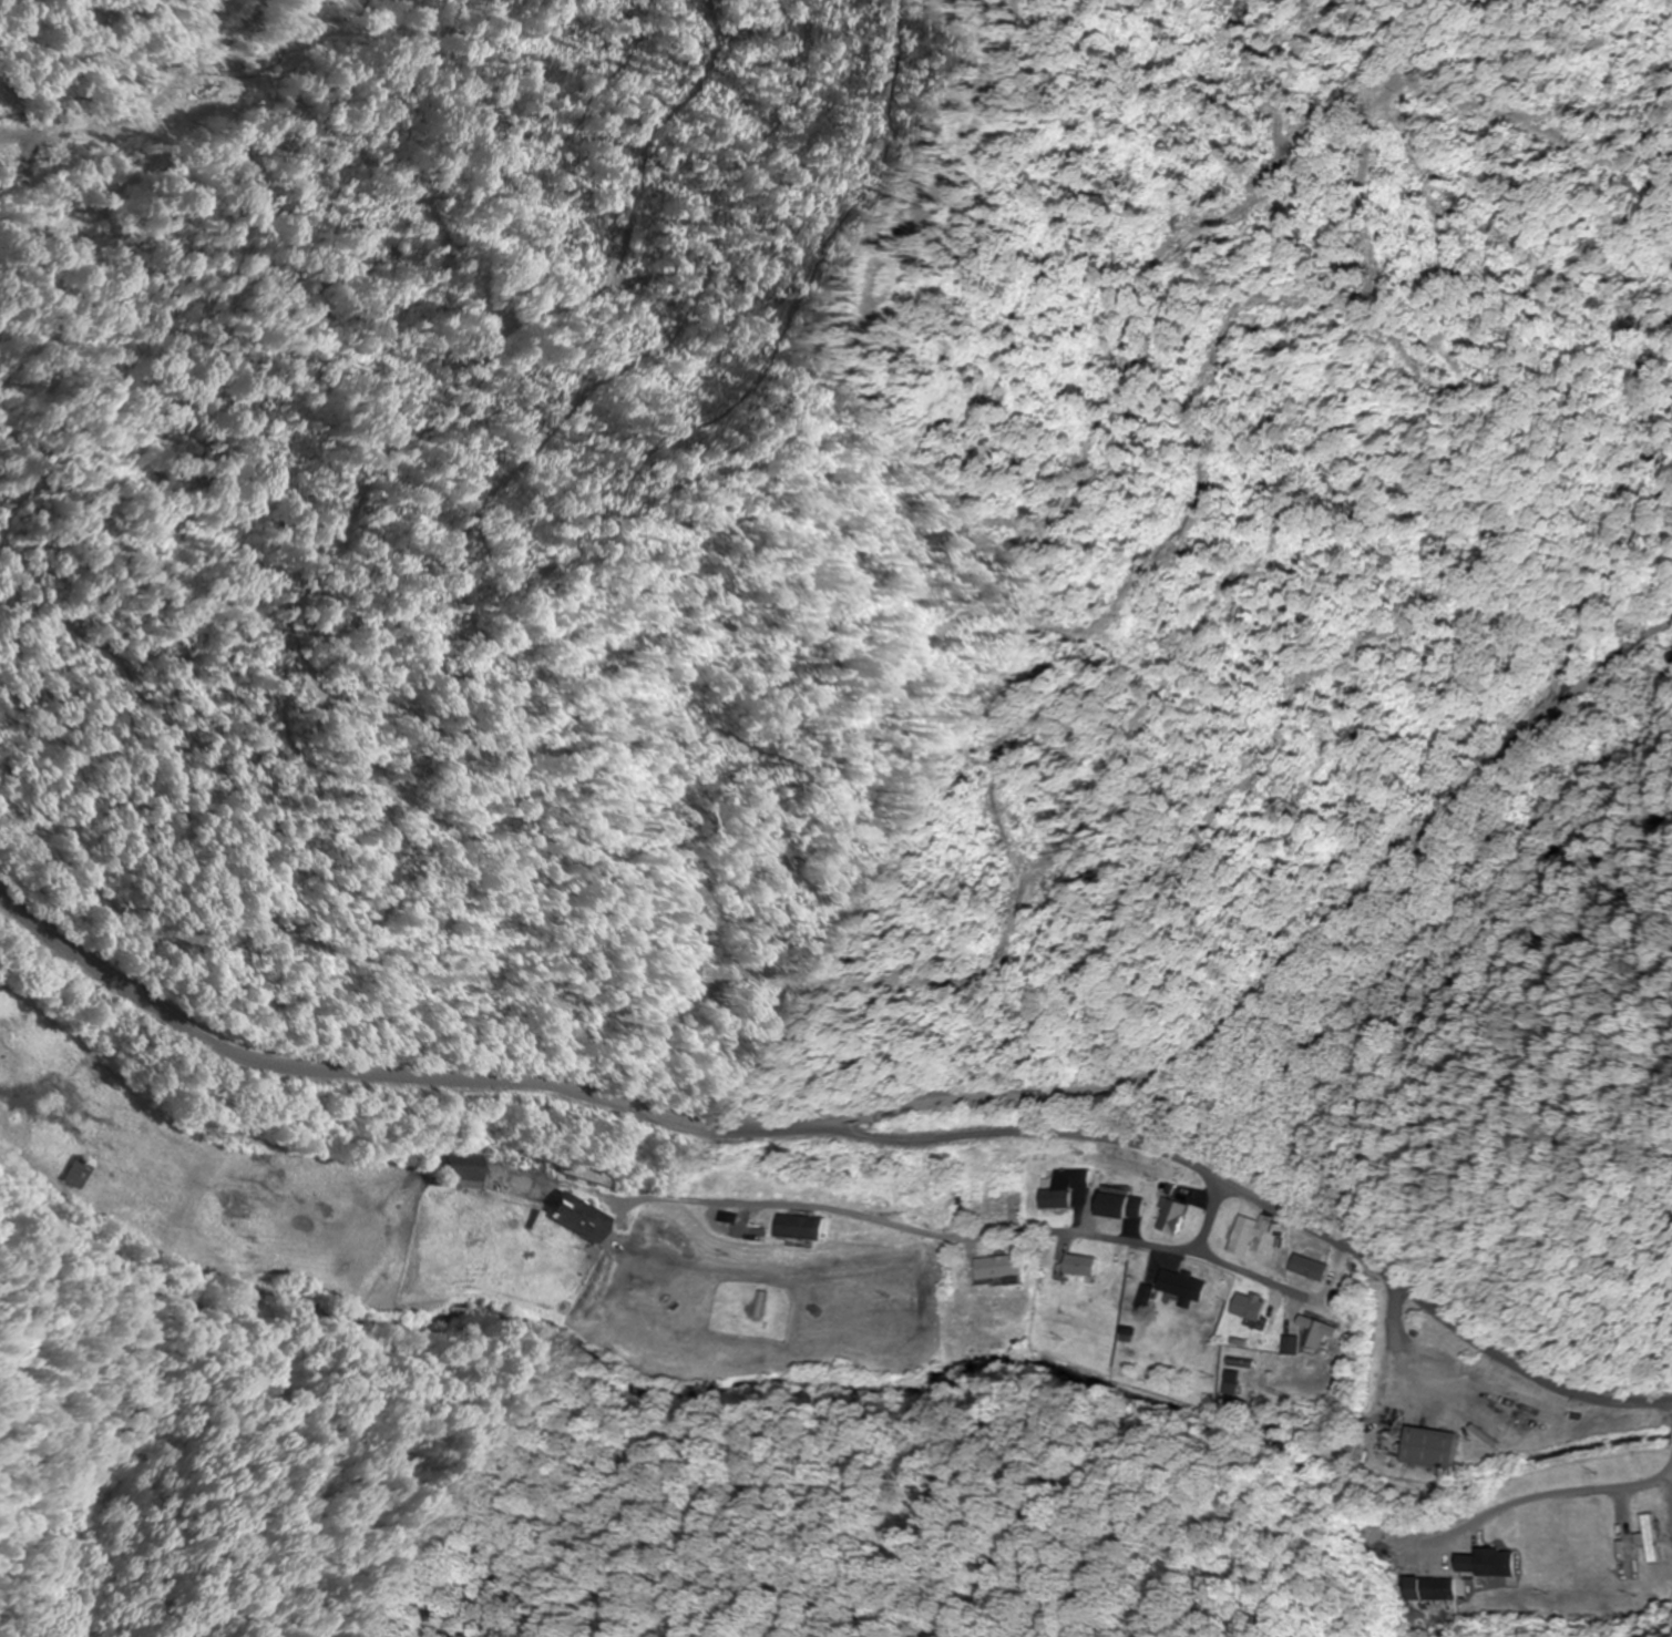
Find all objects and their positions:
road: (1599, 687)
road: (1343, 924)
road: (844, 1132)
building: (466, 1168)
building: (1060, 1188)
building: (981, 1203)
road: (788, 1206)
building: (1116, 1206)
building: (1168, 1216)
building: (578, 1217)
building: (767, 1225)
road: (1110, 1239)
building: (1078, 1265)
building: (996, 1268)
building: (1307, 1268)
building: (1173, 1289)
building: (1248, 1306)
building: (1319, 1332)
building: (1290, 1347)
building: (1430, 1449)
road: (1624, 1477)
building: (1652, 1538)
building: (1491, 1563)
building: (1429, 1588)

